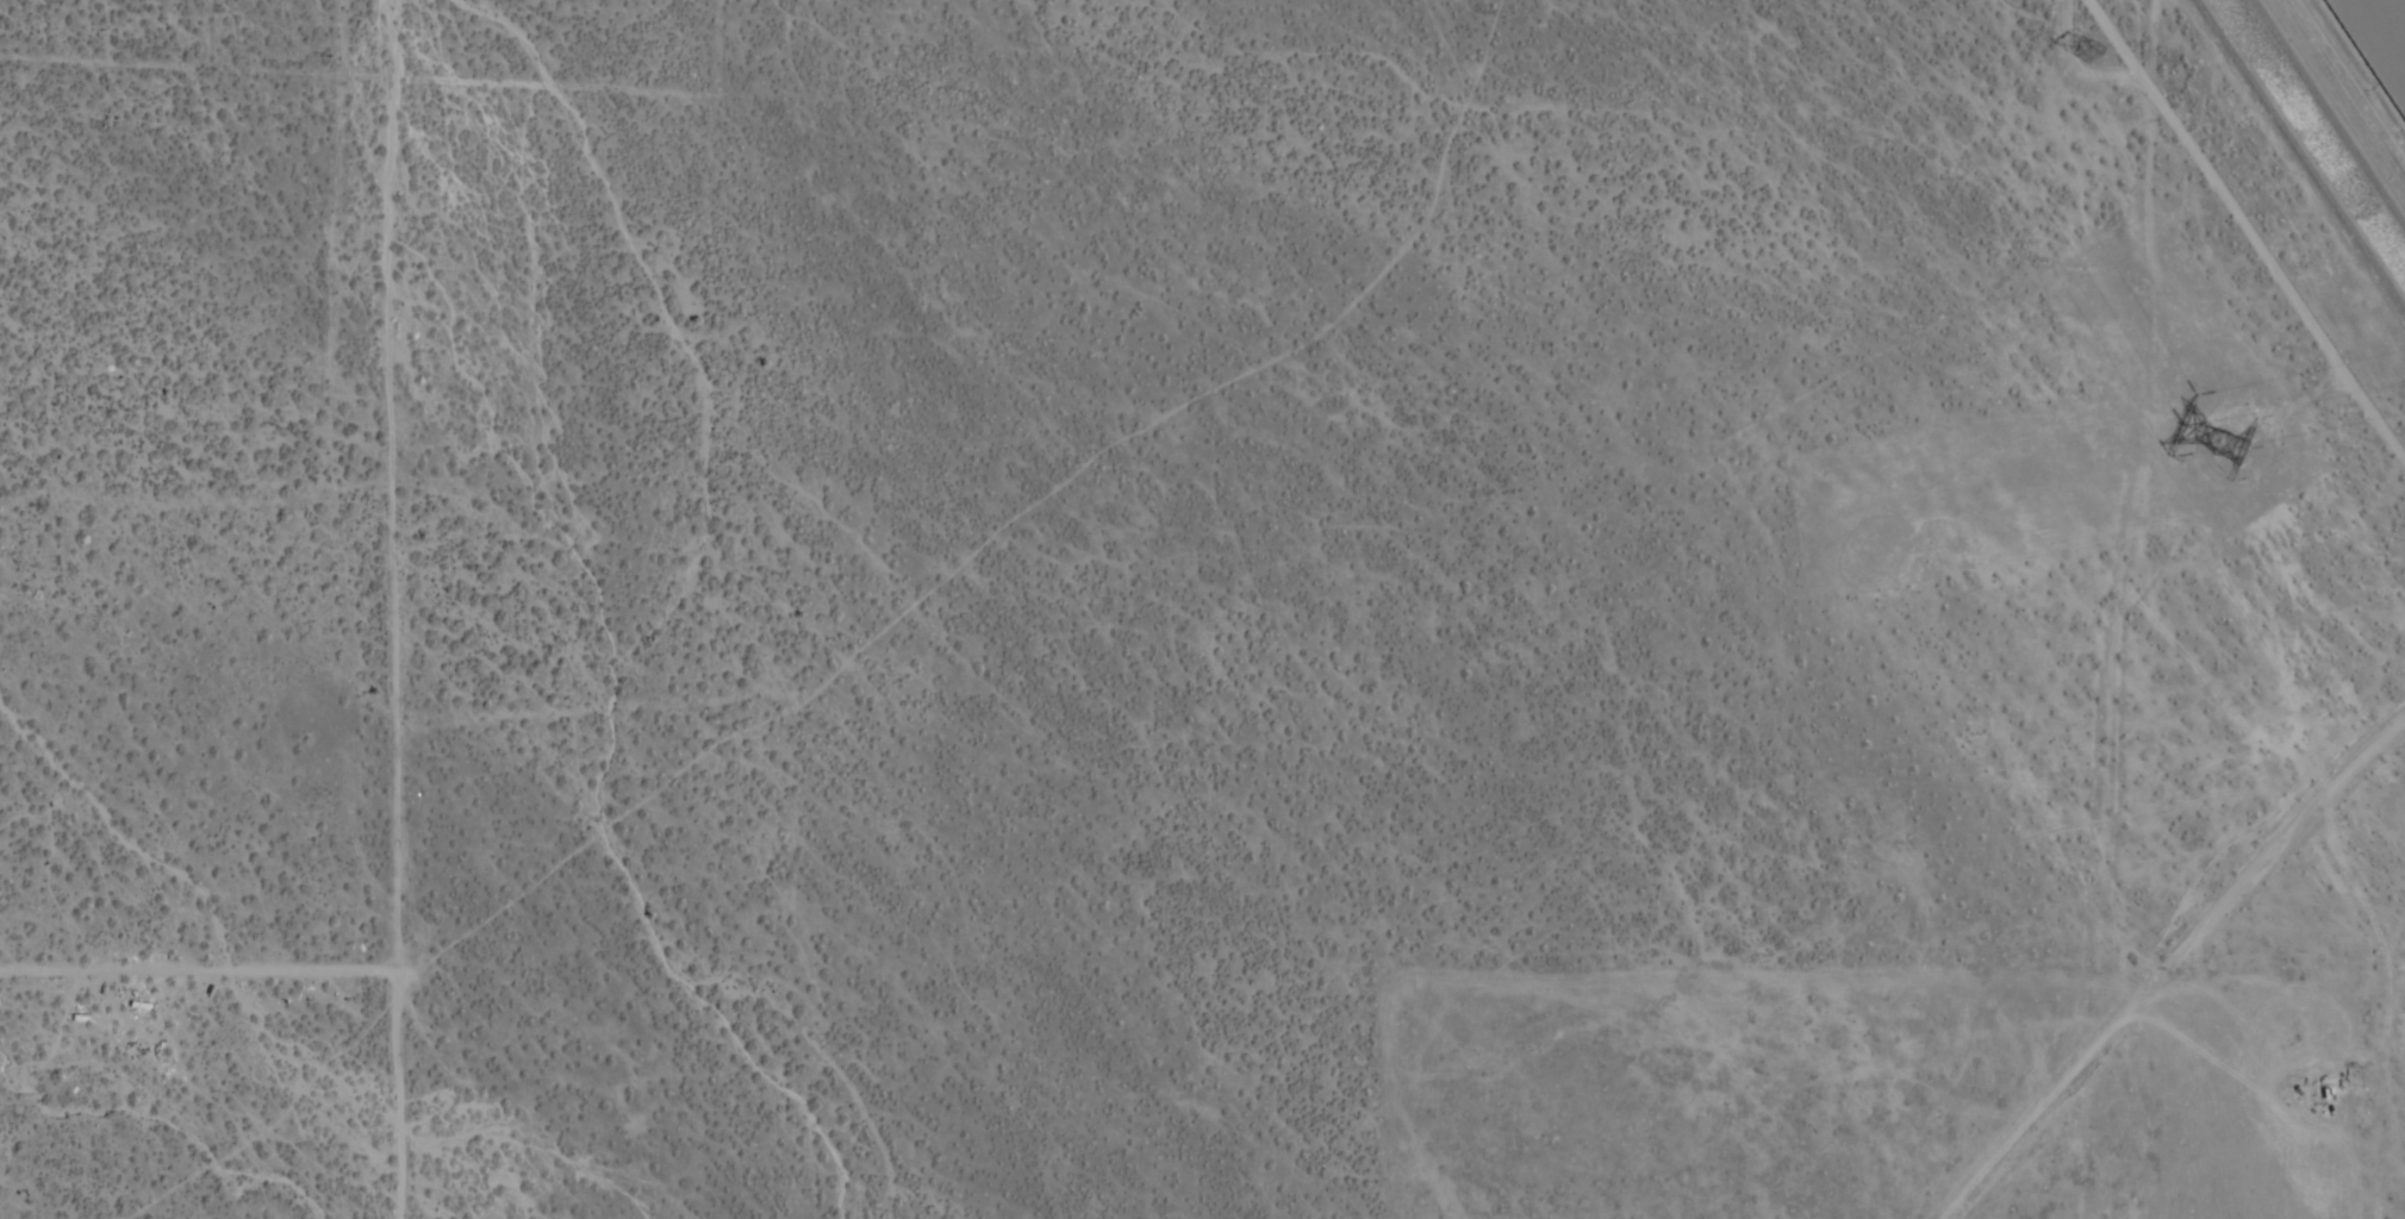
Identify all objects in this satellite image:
power substation: (2380, 37)
power tower: (2101, 52)
power tower: (2239, 446)
road: (2181, 970)

